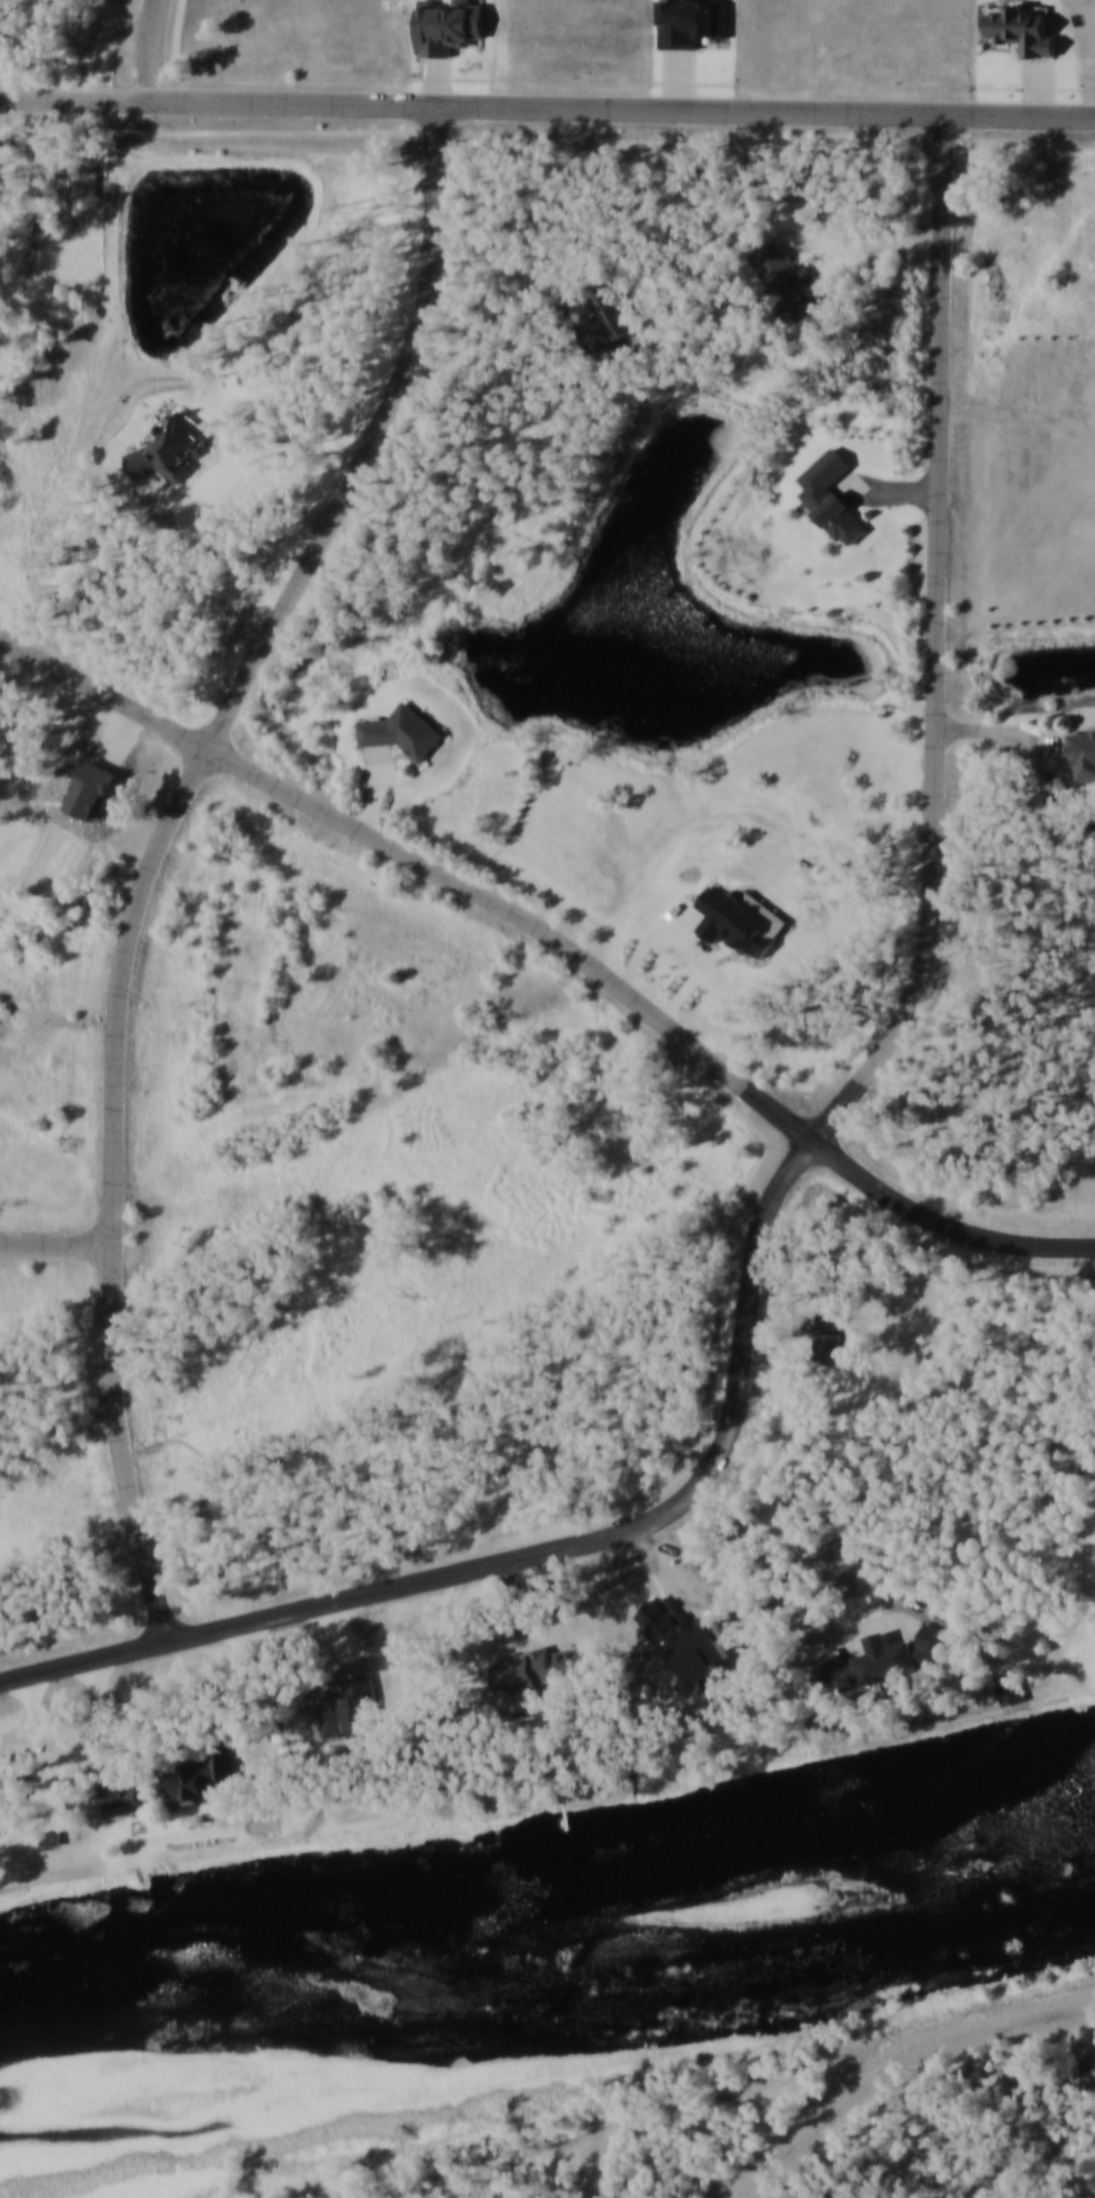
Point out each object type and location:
building: (694, 25)
building: (1027, 35)
road: (155, 48)
road: (177, 59)
road: (1029, 89)
road: (1042, 90)
road: (547, 108)
road: (868, 246)
building: (786, 274)
building: (612, 315)
road: (514, 325)
building: (176, 444)
road: (886, 492)
building: (830, 494)
road: (202, 564)
building: (407, 730)
road: (1004, 734)
building: (1083, 751)
road: (378, 788)
road: (160, 849)
road: (559, 940)
road: (856, 1095)
road: (59, 1248)
road: (782, 1318)
building: (829, 1335)
road: (525, 1622)
road: (834, 1632)
road: (347, 1642)
building: (885, 1659)
road: (84, 1663)
building: (541, 1669)
building: (1010, 1688)
road: (241, 1707)
building: (356, 1711)
road: (261, 1718)
road: (36, 1719)
road: (108, 1724)
building: (14, 1774)
building: (210, 1774)
building: (129, 1798)
river: (729, 1828)
building: (53, 1838)
river: (538, 1987)
road: (891, 2055)

